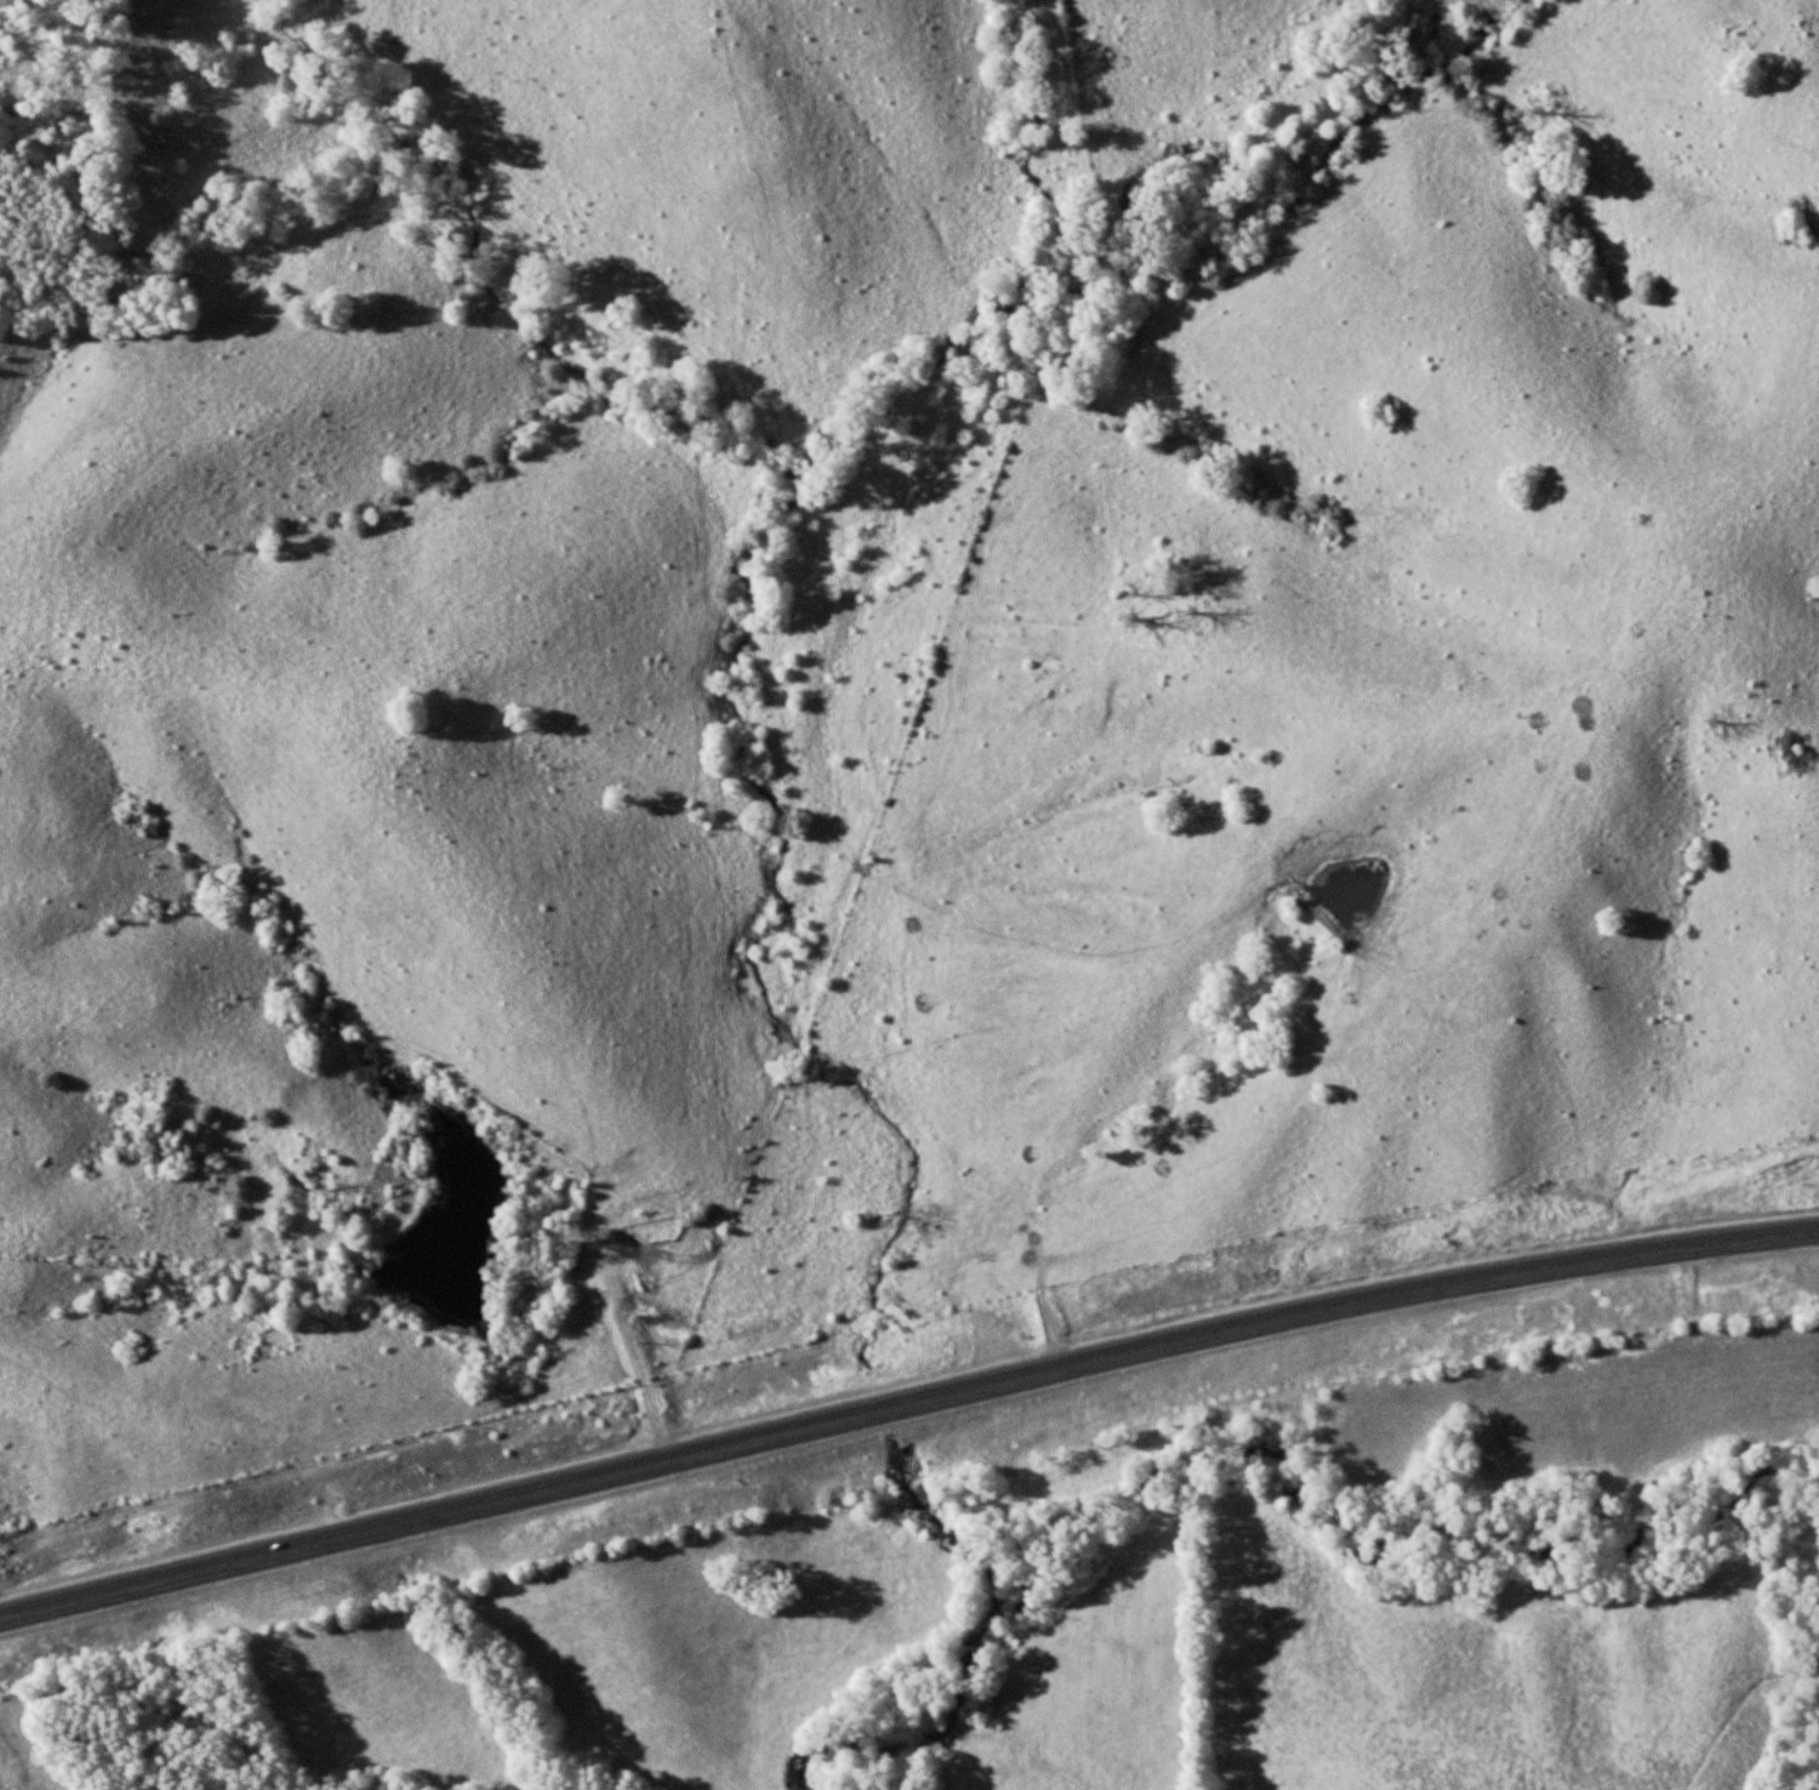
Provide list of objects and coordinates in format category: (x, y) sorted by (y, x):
road: (905, 1397)

